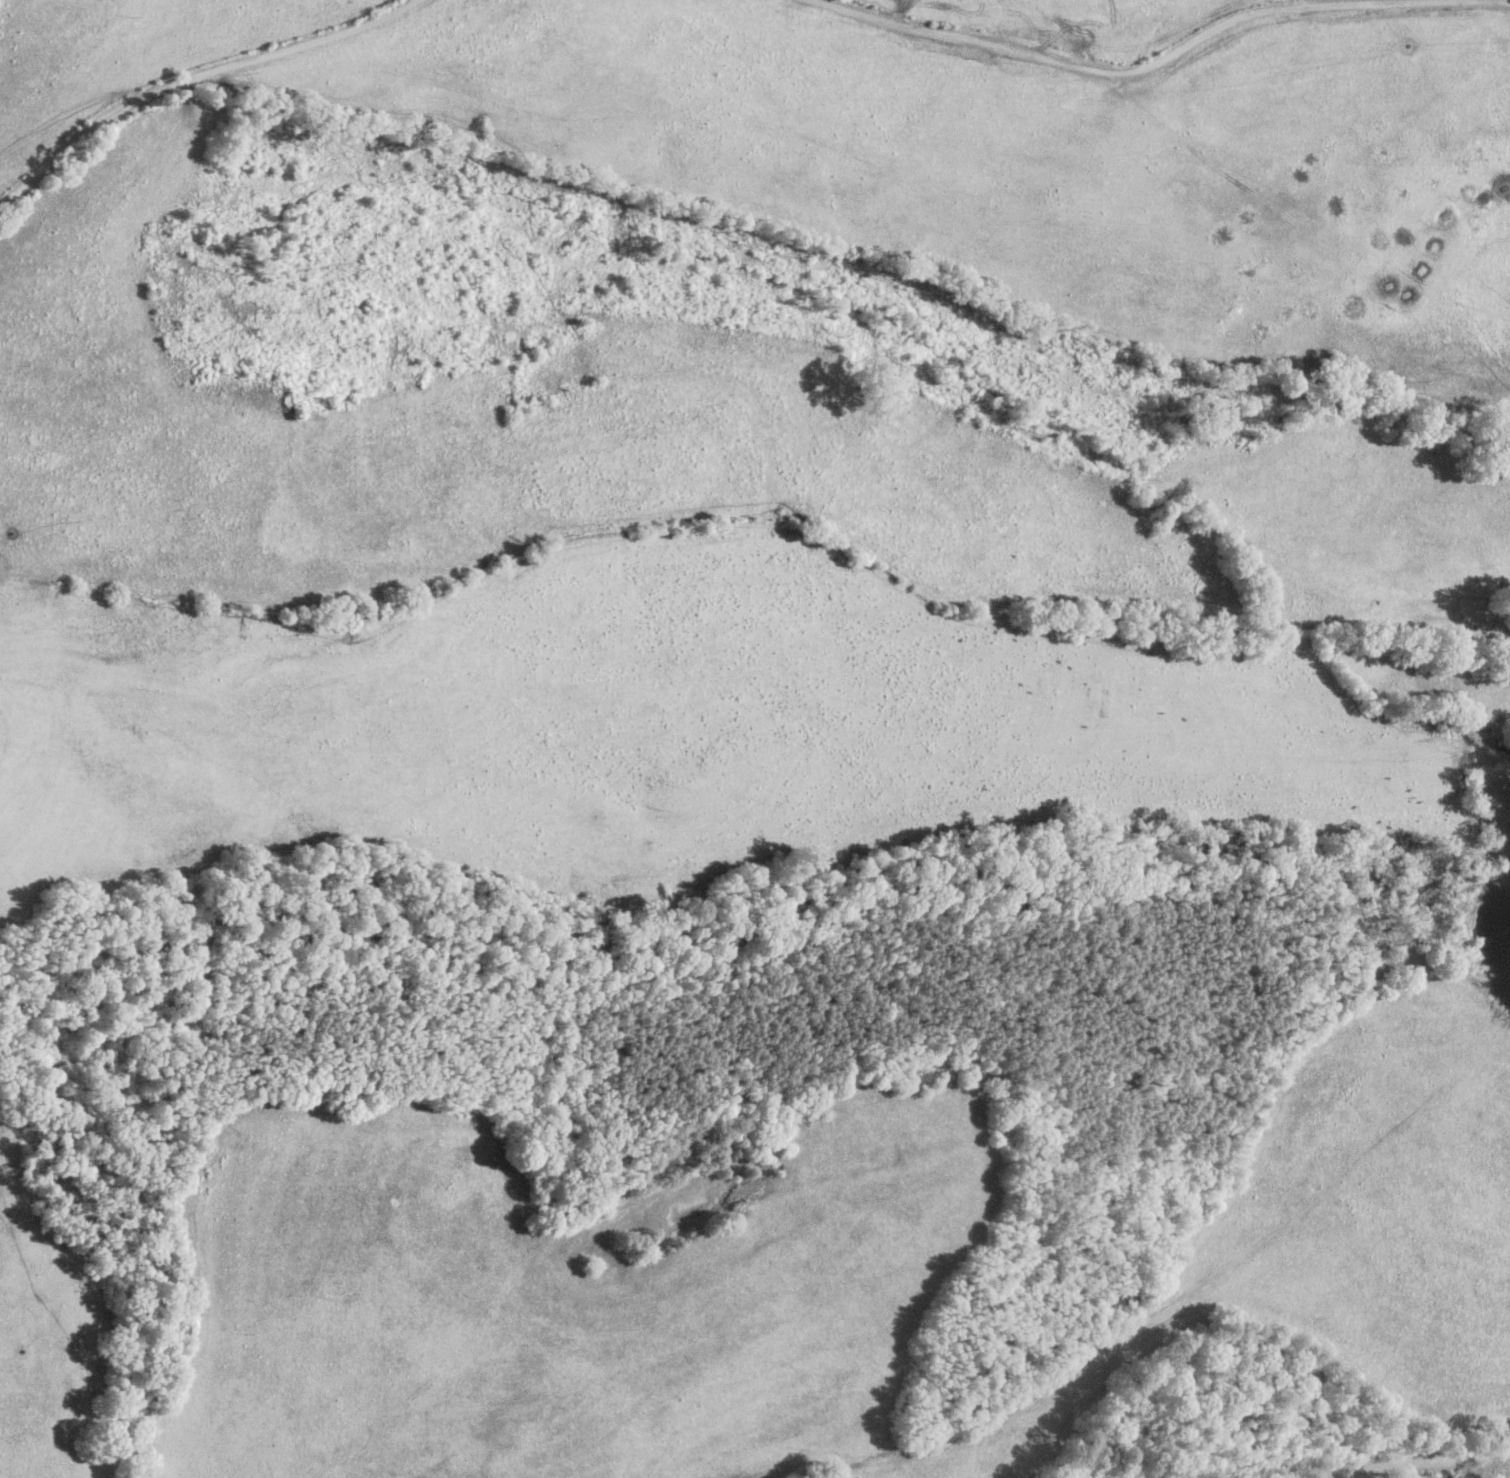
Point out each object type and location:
road: (1473, 1)
road: (1101, 69)
road: (179, 83)
road: (781, 767)

